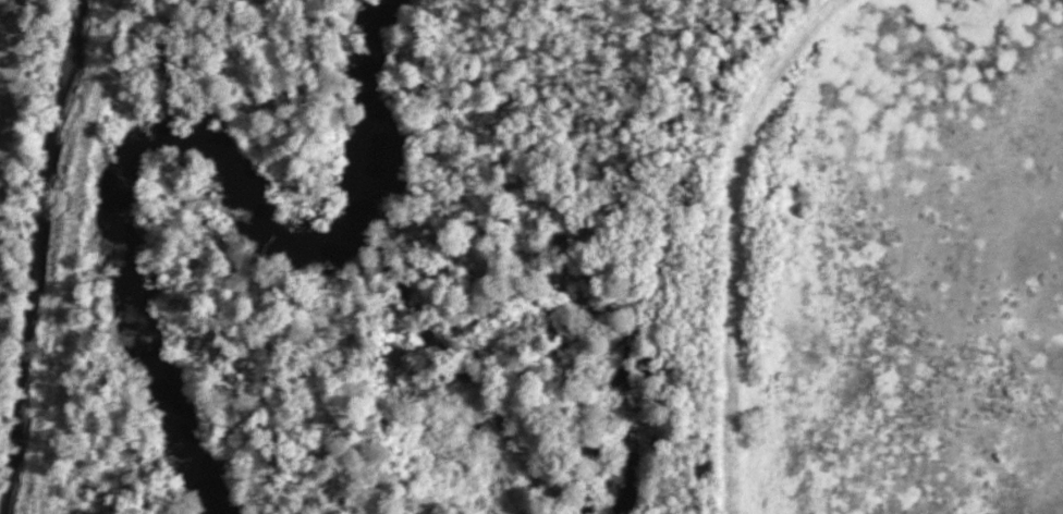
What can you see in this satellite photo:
river: (199, 148)
road: (734, 241)

